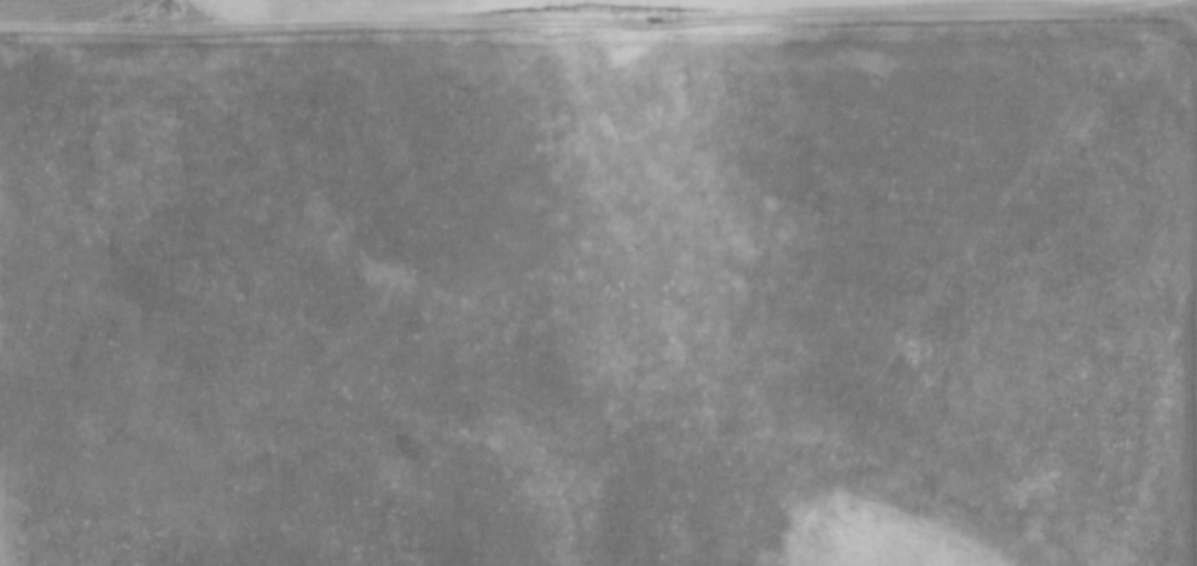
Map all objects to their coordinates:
road: (598, 18)

